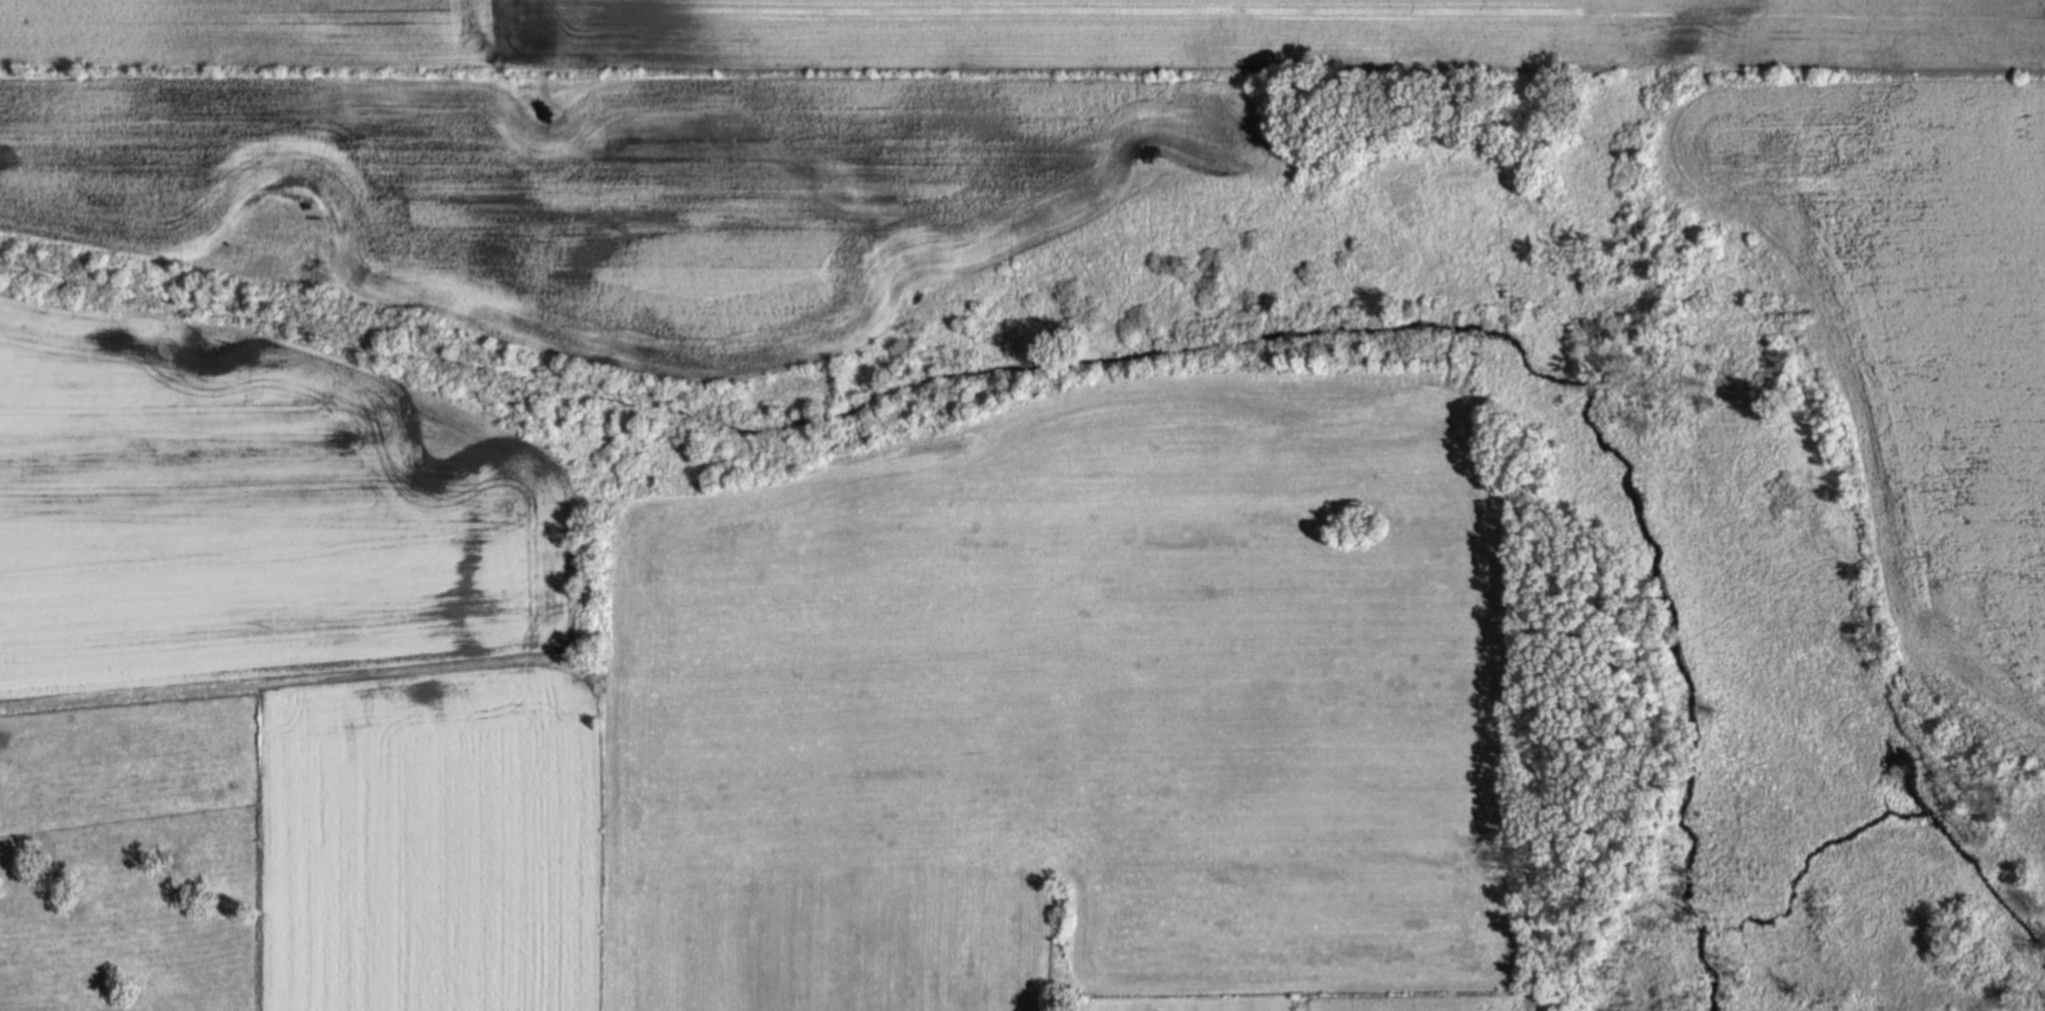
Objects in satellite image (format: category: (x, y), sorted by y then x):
road: (315, 678)

